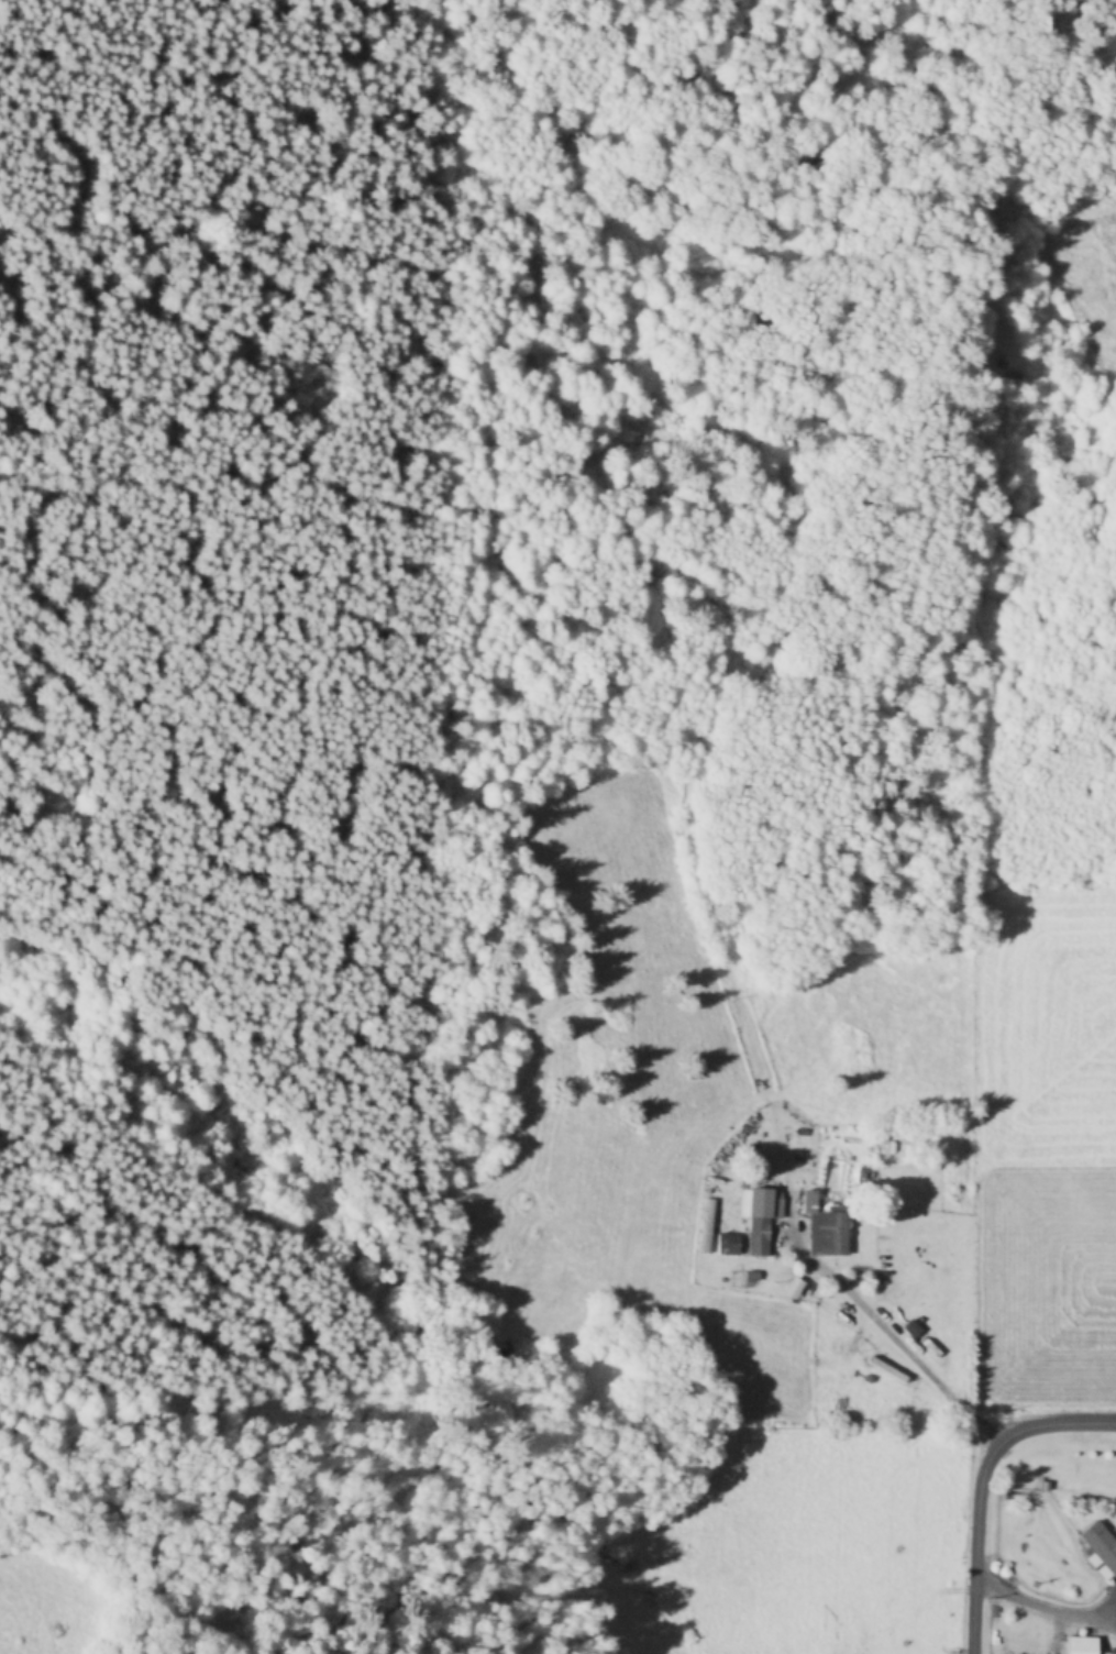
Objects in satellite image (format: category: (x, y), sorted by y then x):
building: (810, 1203)
building: (707, 1227)
building: (763, 1230)
building: (833, 1235)
building: (728, 1245)
road: (832, 1320)
road: (973, 1476)
building: (1101, 1551)
road: (1042, 1602)
building: (1082, 1645)

